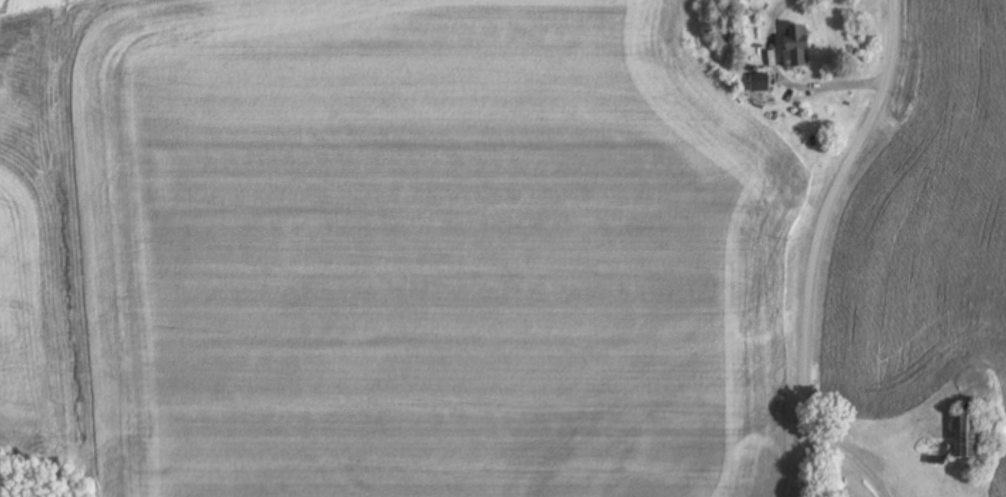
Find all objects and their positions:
building: (796, 47)
building: (759, 83)
road: (817, 240)
building: (967, 435)

